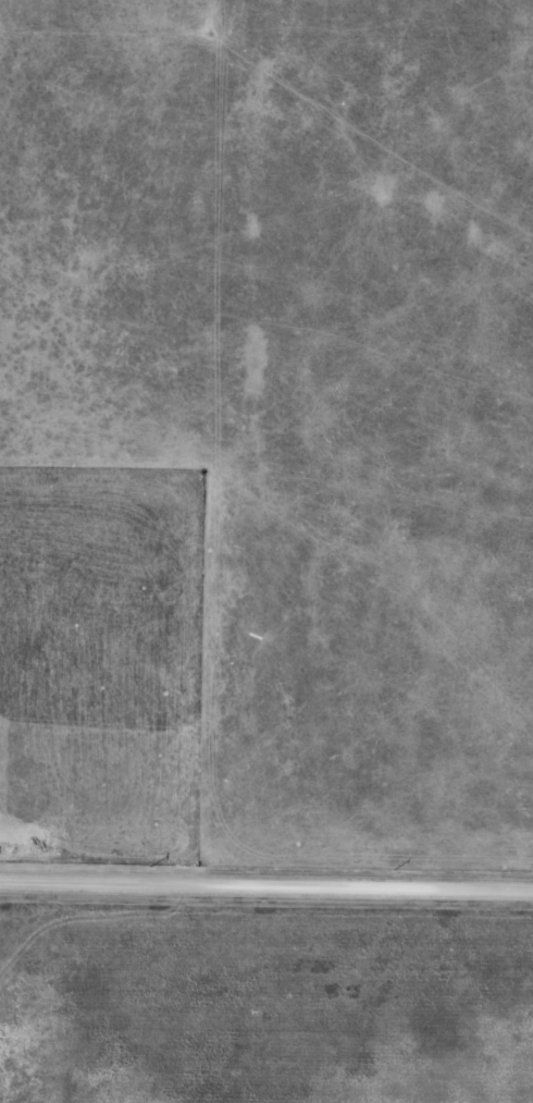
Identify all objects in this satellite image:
road: (266, 881)

